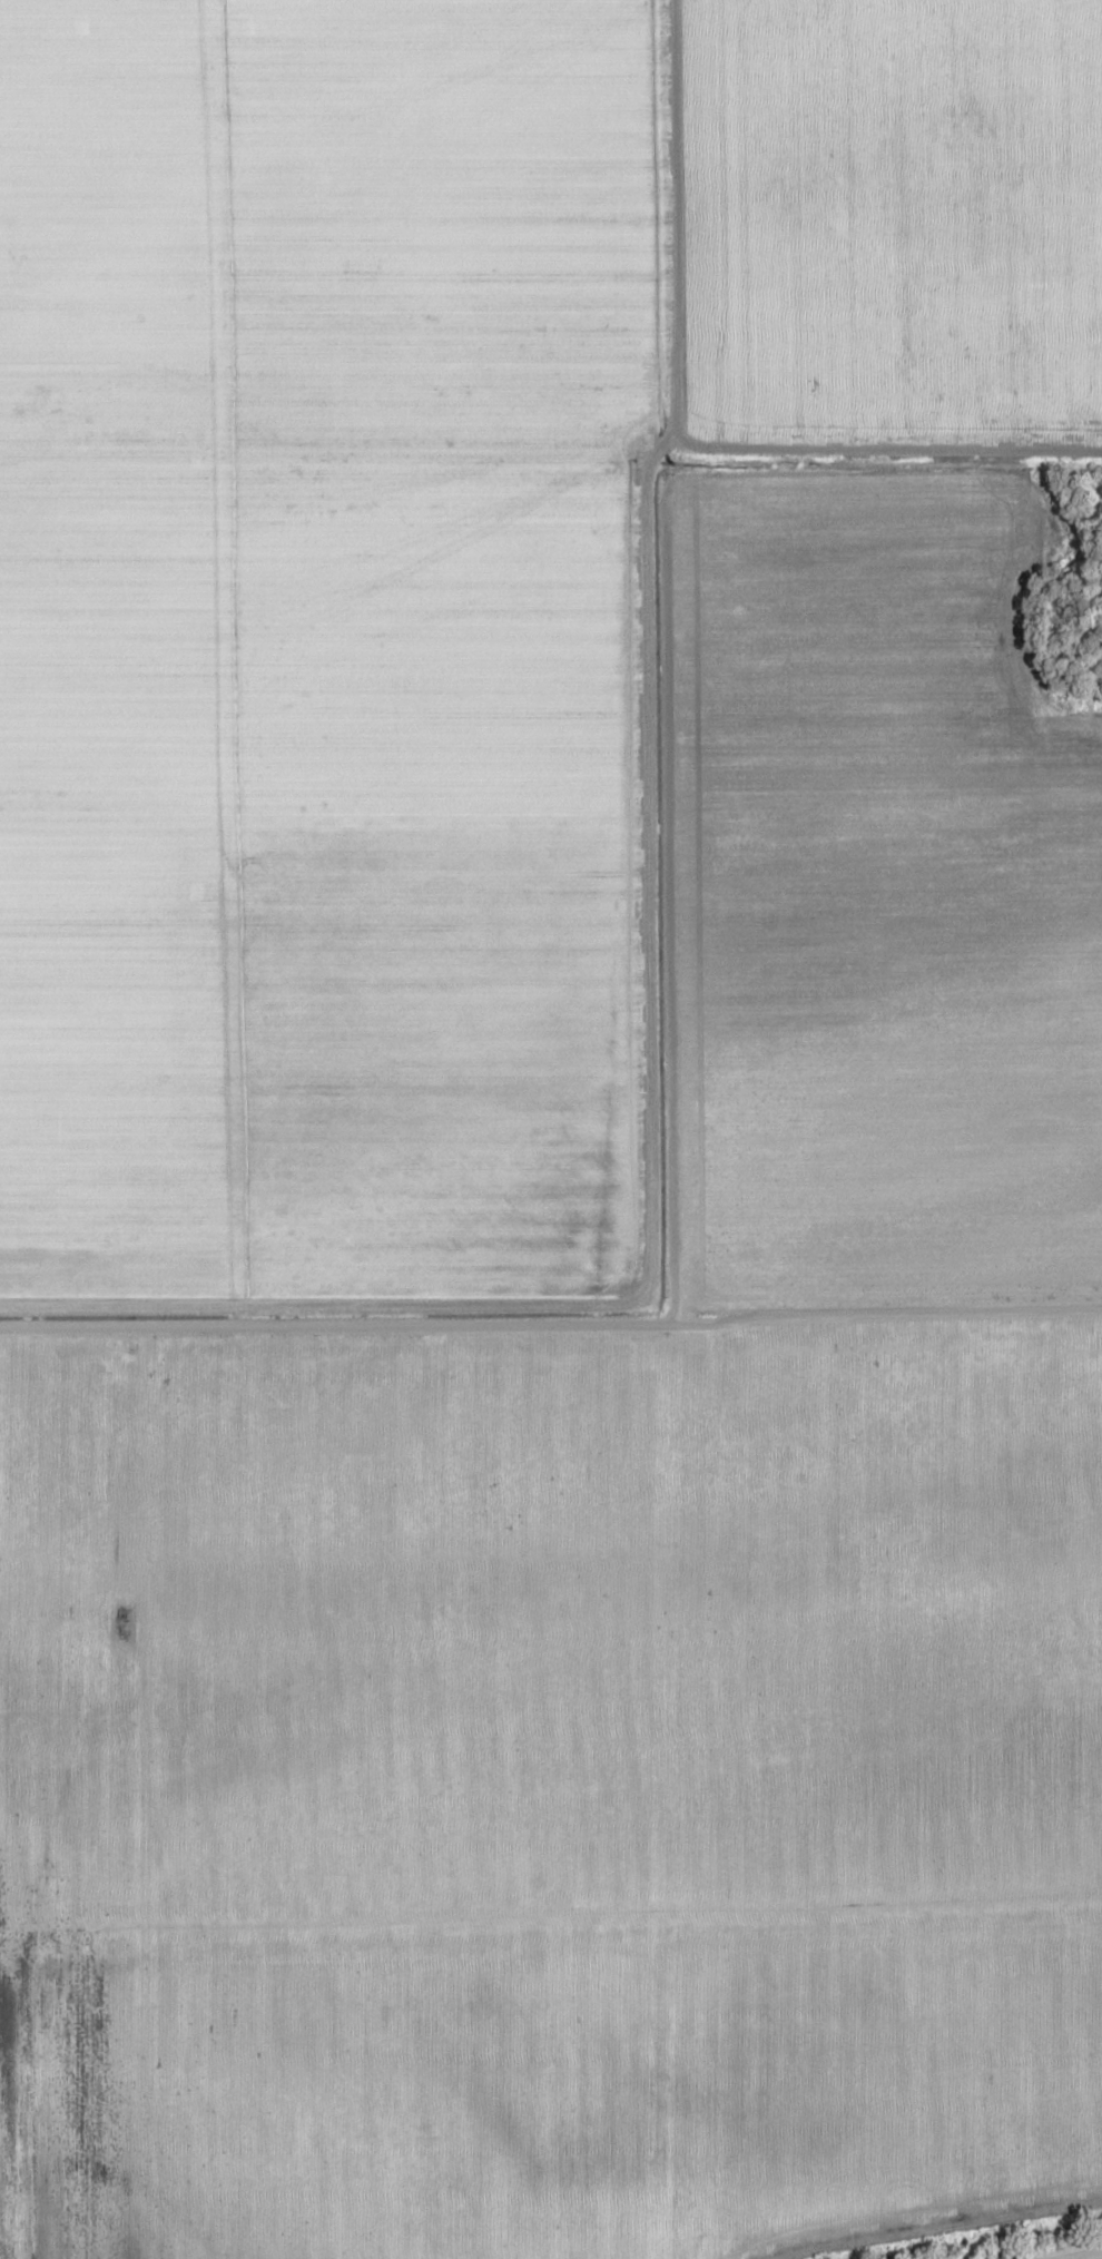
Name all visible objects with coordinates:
road: (550, 454)
road: (550, 1328)
road: (110, 1474)

